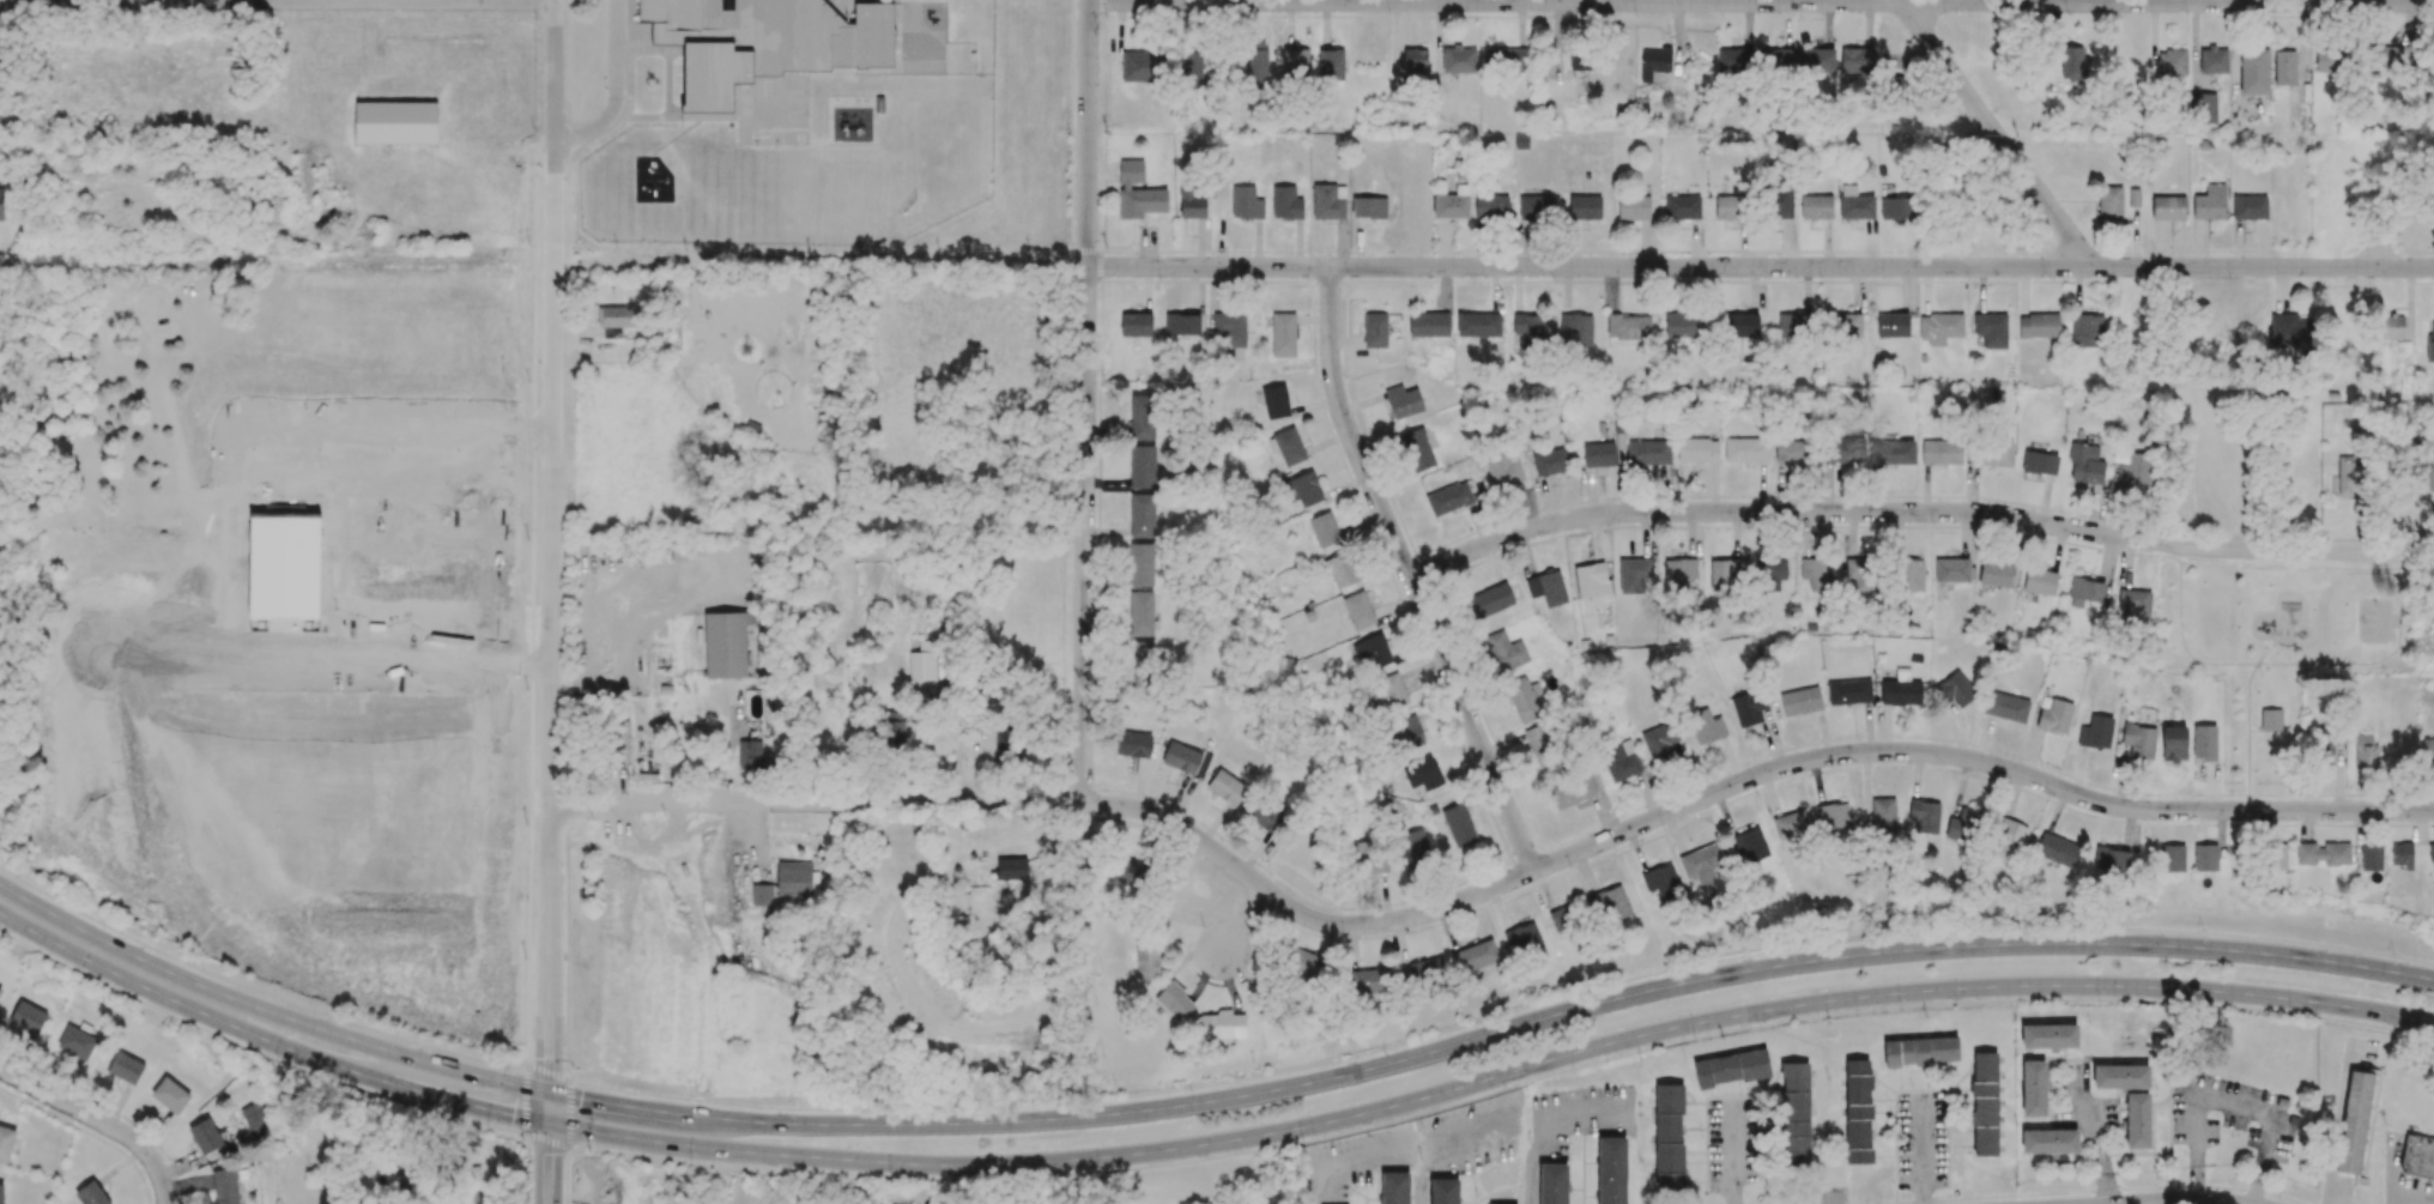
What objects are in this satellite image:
road: (344, 0)
road: (1761, 2)
building: (670, 19)
building: (813, 35)
building: (2385, 56)
building: (1504, 59)
building: (1775, 59)
building: (1255, 60)
building: (1459, 60)
building: (1579, 60)
building: (1816, 60)
building: (1857, 60)
building: (2214, 60)
building: (2331, 60)
building: (1736, 61)
building: (1295, 62)
building: (1416, 62)
building: (2071, 62)
building: (2172, 62)
building: (1653, 63)
building: (1331, 65)
building: (1140, 67)
building: (2284, 67)
building: (1191, 69)
building: (1, 72)
building: (2253, 72)
building: (713, 74)
road: (553, 84)
road: (617, 90)
building: (1894, 91)
building: (2204, 108)
building: (395, 122)
road: (1993, 131)
building: (1138, 193)
building: (2133, 198)
building: (1328, 201)
building: (1191, 202)
building: (1246, 202)
building: (1285, 202)
building: (2109, 202)
building: (2209, 202)
building: (0, 204)
building: (1452, 204)
building: (1779, 204)
building: (1855, 204)
building: (1491, 206)
building: (1369, 207)
building: (1536, 207)
building: (1584, 207)
building: (1633, 207)
building: (1682, 207)
building: (1730, 207)
building: (1816, 207)
building: (2168, 207)
building: (2248, 207)
building: (1896, 208)
road: (4, 254)
road: (477, 255)
road: (1760, 266)
building: (617, 319)
building: (1182, 323)
building: (1136, 325)
building: (1429, 325)
building: (1478, 325)
building: (1684, 325)
building: (1742, 325)
building: (1792, 325)
building: (1847, 325)
building: (1893, 325)
building: (1628, 326)
building: (2039, 326)
building: (2394, 326)
building: (1939, 327)
building: (1375, 329)
building: (1527, 329)
building: (1991, 329)
building: (1581, 331)
building: (2087, 331)
building: (2290, 331)
building: (1230, 333)
building: (1283, 334)
building: (2429, 345)
building: (1276, 401)
building: (1403, 401)
road: (1084, 403)
building: (1143, 417)
building: (1286, 447)
building: (1417, 449)
building: (1697, 450)
building: (1745, 450)
building: (1834, 450)
building: (1899, 450)
building: (1648, 452)
building: (1792, 452)
building: (1939, 453)
building: (1598, 454)
building: (1993, 454)
building: (1550, 461)
building: (2039, 462)
building: (2085, 464)
building: (1142, 466)
building: (1503, 470)
building: (2135, 470)
building: (2348, 476)
building: (2426, 478)
road: (556, 485)
building: (1304, 489)
building: (1448, 498)
road: (1917, 512)
building: (1142, 515)
building: (1324, 530)
building: (1140, 564)
building: (1951, 569)
building: (1340, 570)
building: (1678, 573)
building: (1772, 573)
building: (1817, 573)
road: (1406, 574)
building: (1634, 574)
building: (1994, 574)
building: (1725, 575)
building: (1860, 575)
building: (1912, 575)
building: (1591, 580)
building: (2040, 581)
building: (1546, 587)
building: (2085, 592)
building: (1491, 600)
building: (2133, 607)
building: (1358, 610)
building: (1140, 613)
road: (102, 637)
building: (726, 643)
building: (1506, 649)
building: (1140, 653)
building: (1373, 653)
building: (922, 661)
road: (346, 666)
building: (1901, 689)
building: (1957, 689)
building: (1848, 691)
building: (1387, 692)
building: (1524, 698)
building: (991, 700)
building: (1800, 701)
building: (2005, 707)
building: (1746, 709)
building: (2054, 716)
building: (2270, 720)
building: (1706, 726)
building: (894, 727)
building: (2096, 732)
building: (1409, 733)
building: (622, 739)
building: (1659, 740)
building: (2204, 742)
building: (2139, 743)
building: (1007, 744)
building: (1133, 744)
building: (1540, 745)
building: (2330, 749)
building: (2365, 751)
building: (2428, 751)
building: (749, 755)
building: (1185, 758)
building: (1621, 761)
building: (1425, 774)
building: (1225, 787)
building: (1573, 791)
building: (1266, 816)
building: (1883, 816)
building: (1924, 816)
building: (1833, 818)
building: (1790, 824)
building: (1459, 825)
building: (1963, 825)
building: (2009, 837)
building: (1750, 846)
building: (1412, 847)
building: (2055, 849)
building: (2430, 853)
building: (2321, 854)
building: (2402, 854)
building: (1370, 857)
building: (2278, 857)
building: (2371, 857)
building: (2172, 858)
building: (2205, 858)
building: (2111, 859)
building: (1702, 860)
building: (1130, 872)
building: (795, 878)
building: (1661, 881)
road: (1490, 887)
building: (761, 894)
building: (1611, 903)
building: (1563, 918)
road: (1245, 922)
road: (568, 942)
building: (1524, 942)
road: (549, 949)
building: (1476, 956)
building: (1146, 962)
building: (1300, 962)
building: (1423, 973)
building: (1372, 980)
building: (0, 988)
road: (255, 991)
building: (1174, 1002)
road: (1501, 1015)
building: (28, 1017)
building: (1223, 1024)
building: (2048, 1036)
building: (77, 1042)
building: (1920, 1051)
road: (255, 1052)
building: (126, 1067)
building: (1731, 1067)
road: (550, 1071)
building: (2120, 1076)
building: (2033, 1089)
road: (1502, 1090)
traffic signals: (549, 1094)
building: (170, 1095)
road: (525, 1100)
road: (1205, 1102)
building: (1984, 1103)
building: (1858, 1112)
road: (570, 1114)
building: (1794, 1114)
road: (91, 1117)
building: (255, 1119)
building: (2137, 1120)
building: (2354, 1123)
traffic signals: (549, 1126)
road: (1545, 1135)
building: (205, 1136)
building: (1669, 1136)
road: (2094, 1136)
road: (547, 1142)
road: (1443, 1142)
building: (2049, 1142)
building: (6, 1143)
road: (1204, 1146)
road: (549, 1149)
building: (2417, 1156)
road: (1343, 1161)
building: (1611, 1170)
road: (567, 1176)
building: (1552, 1184)
building: (225, 1186)
building: (1394, 1187)
building: (1443, 1191)
building: (1, 1193)
building: (91, 1193)
building: (327, 1193)
road: (163, 1194)
road: (2192, 1202)
building: (912, 1203)

